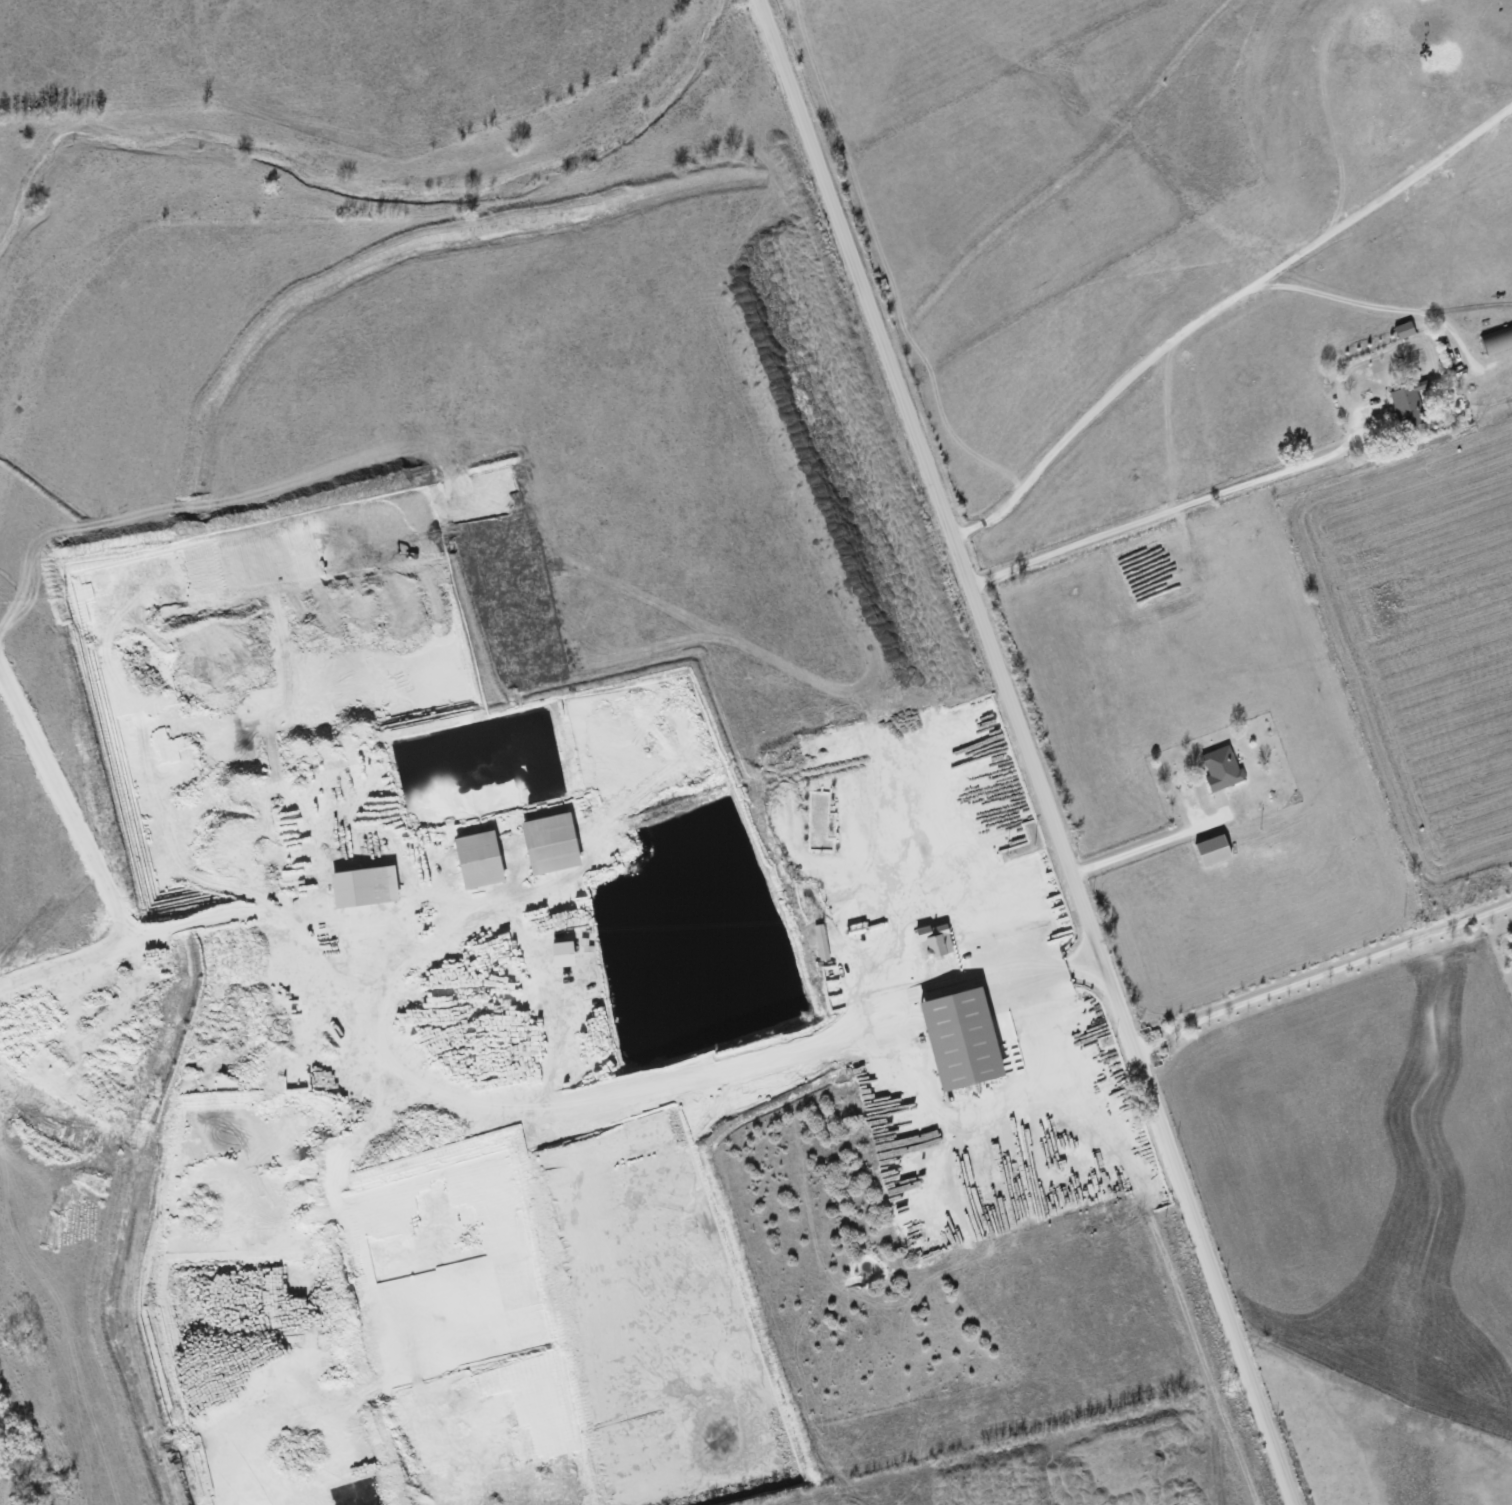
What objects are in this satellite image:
road: (1381, 308)
road: (1222, 316)
building: (1498, 340)
building: (1406, 405)
road: (1168, 509)
road: (1221, 546)
road: (1027, 752)
building: (1221, 767)
building: (551, 843)
building: (1213, 849)
road: (1134, 850)
building: (479, 859)
building: (364, 886)
building: (935, 940)
building: (821, 941)
building: (563, 953)
road: (1321, 974)
quarry: (505, 1026)
building: (962, 1038)

